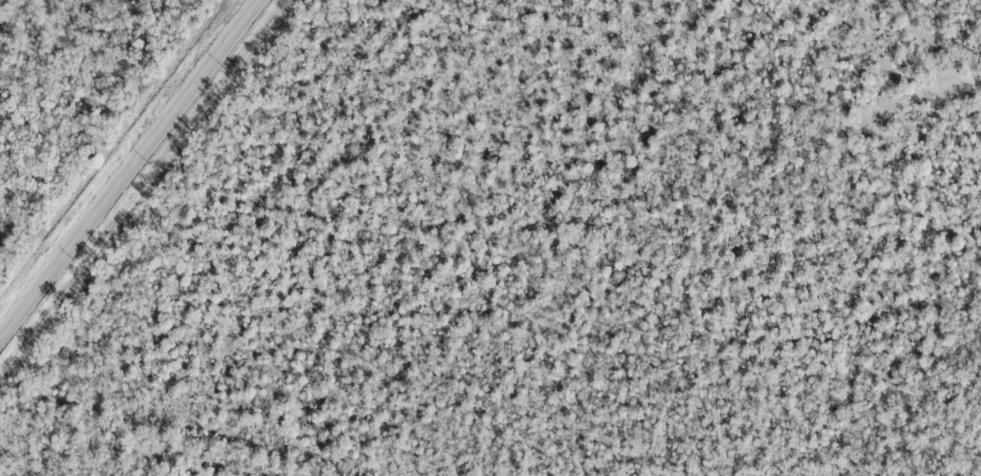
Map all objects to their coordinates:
road: (129, 169)

